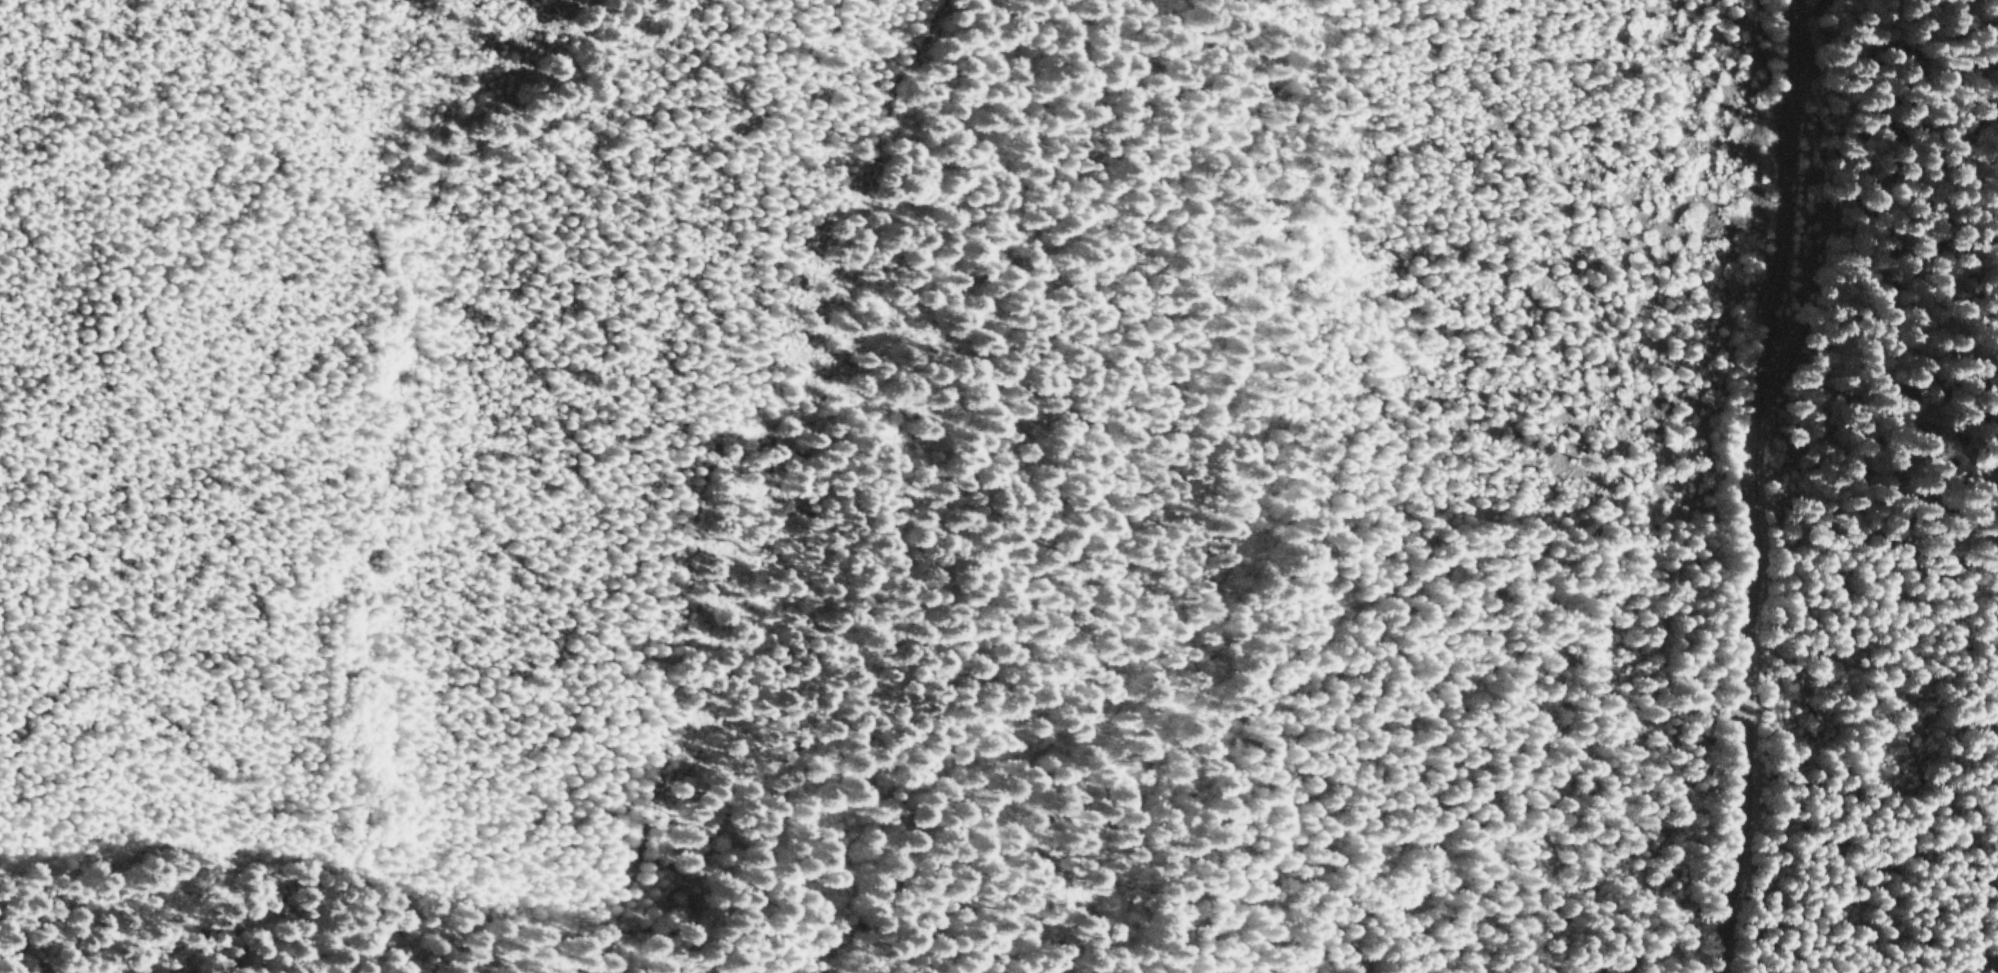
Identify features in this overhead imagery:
road: (1747, 486)

